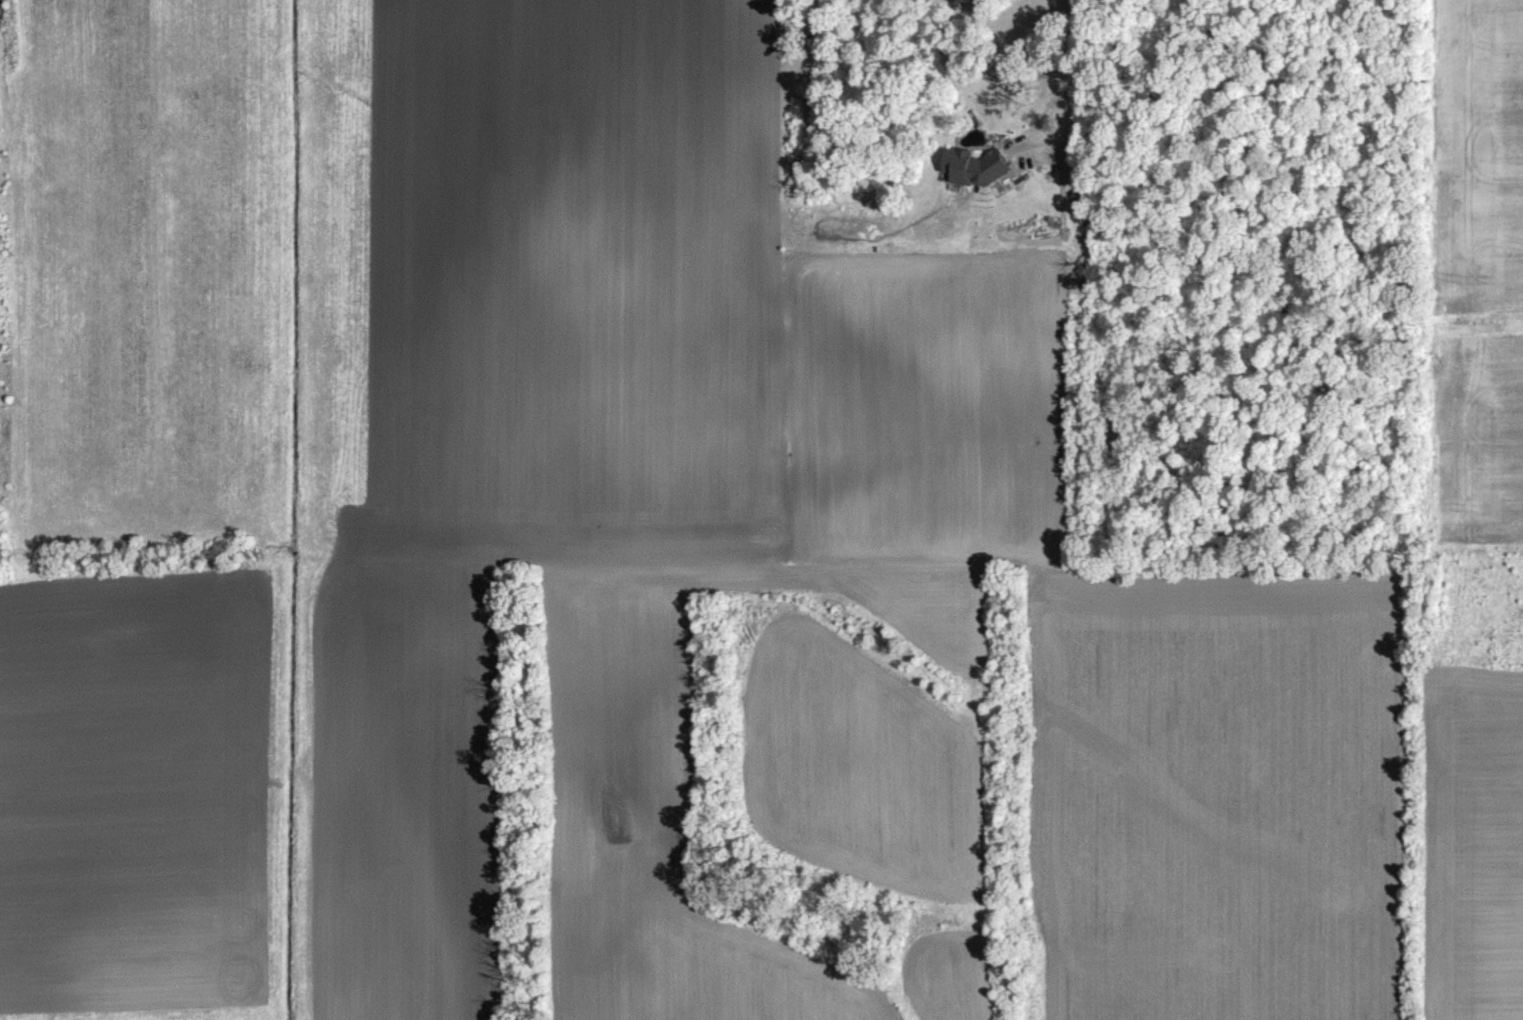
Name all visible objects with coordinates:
road: (1068, 68)

